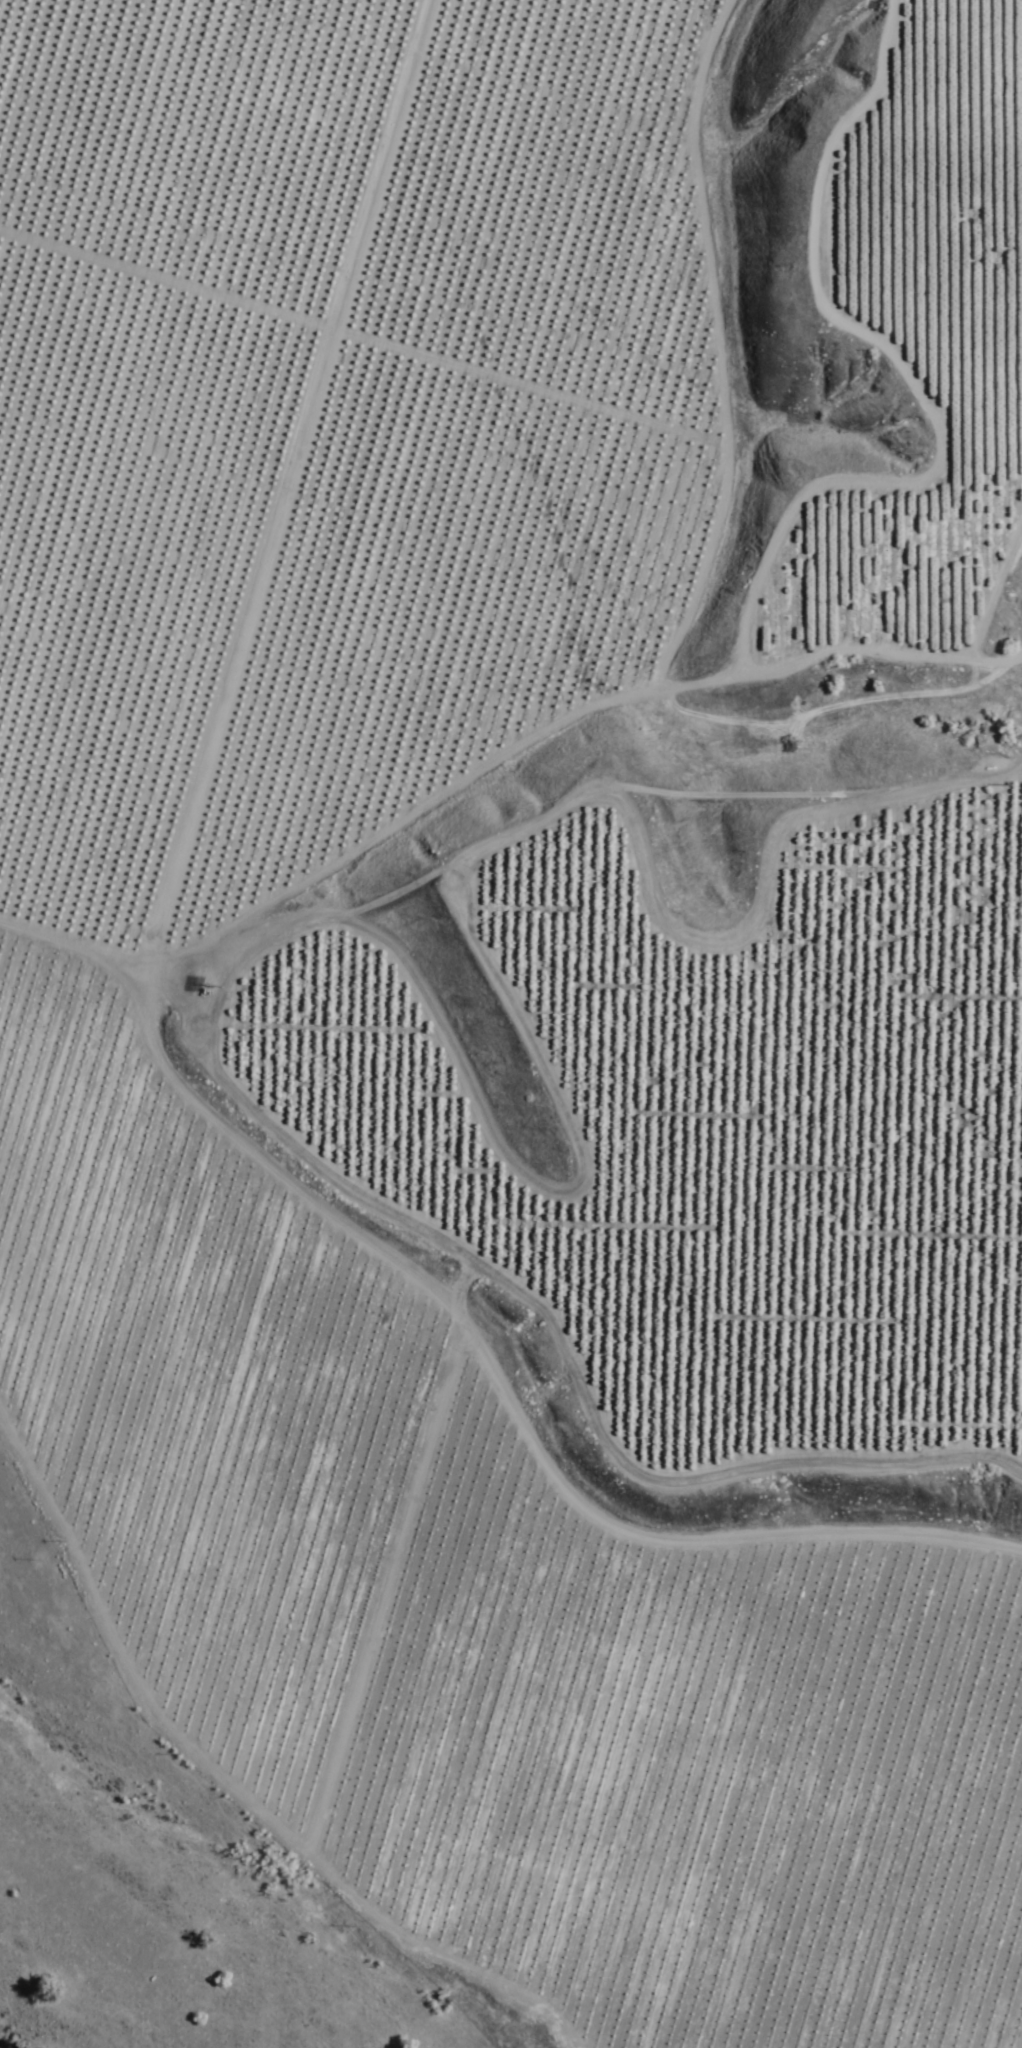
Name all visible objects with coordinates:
road: (947, 372)
crop: (535, 960)
road: (473, 1356)

